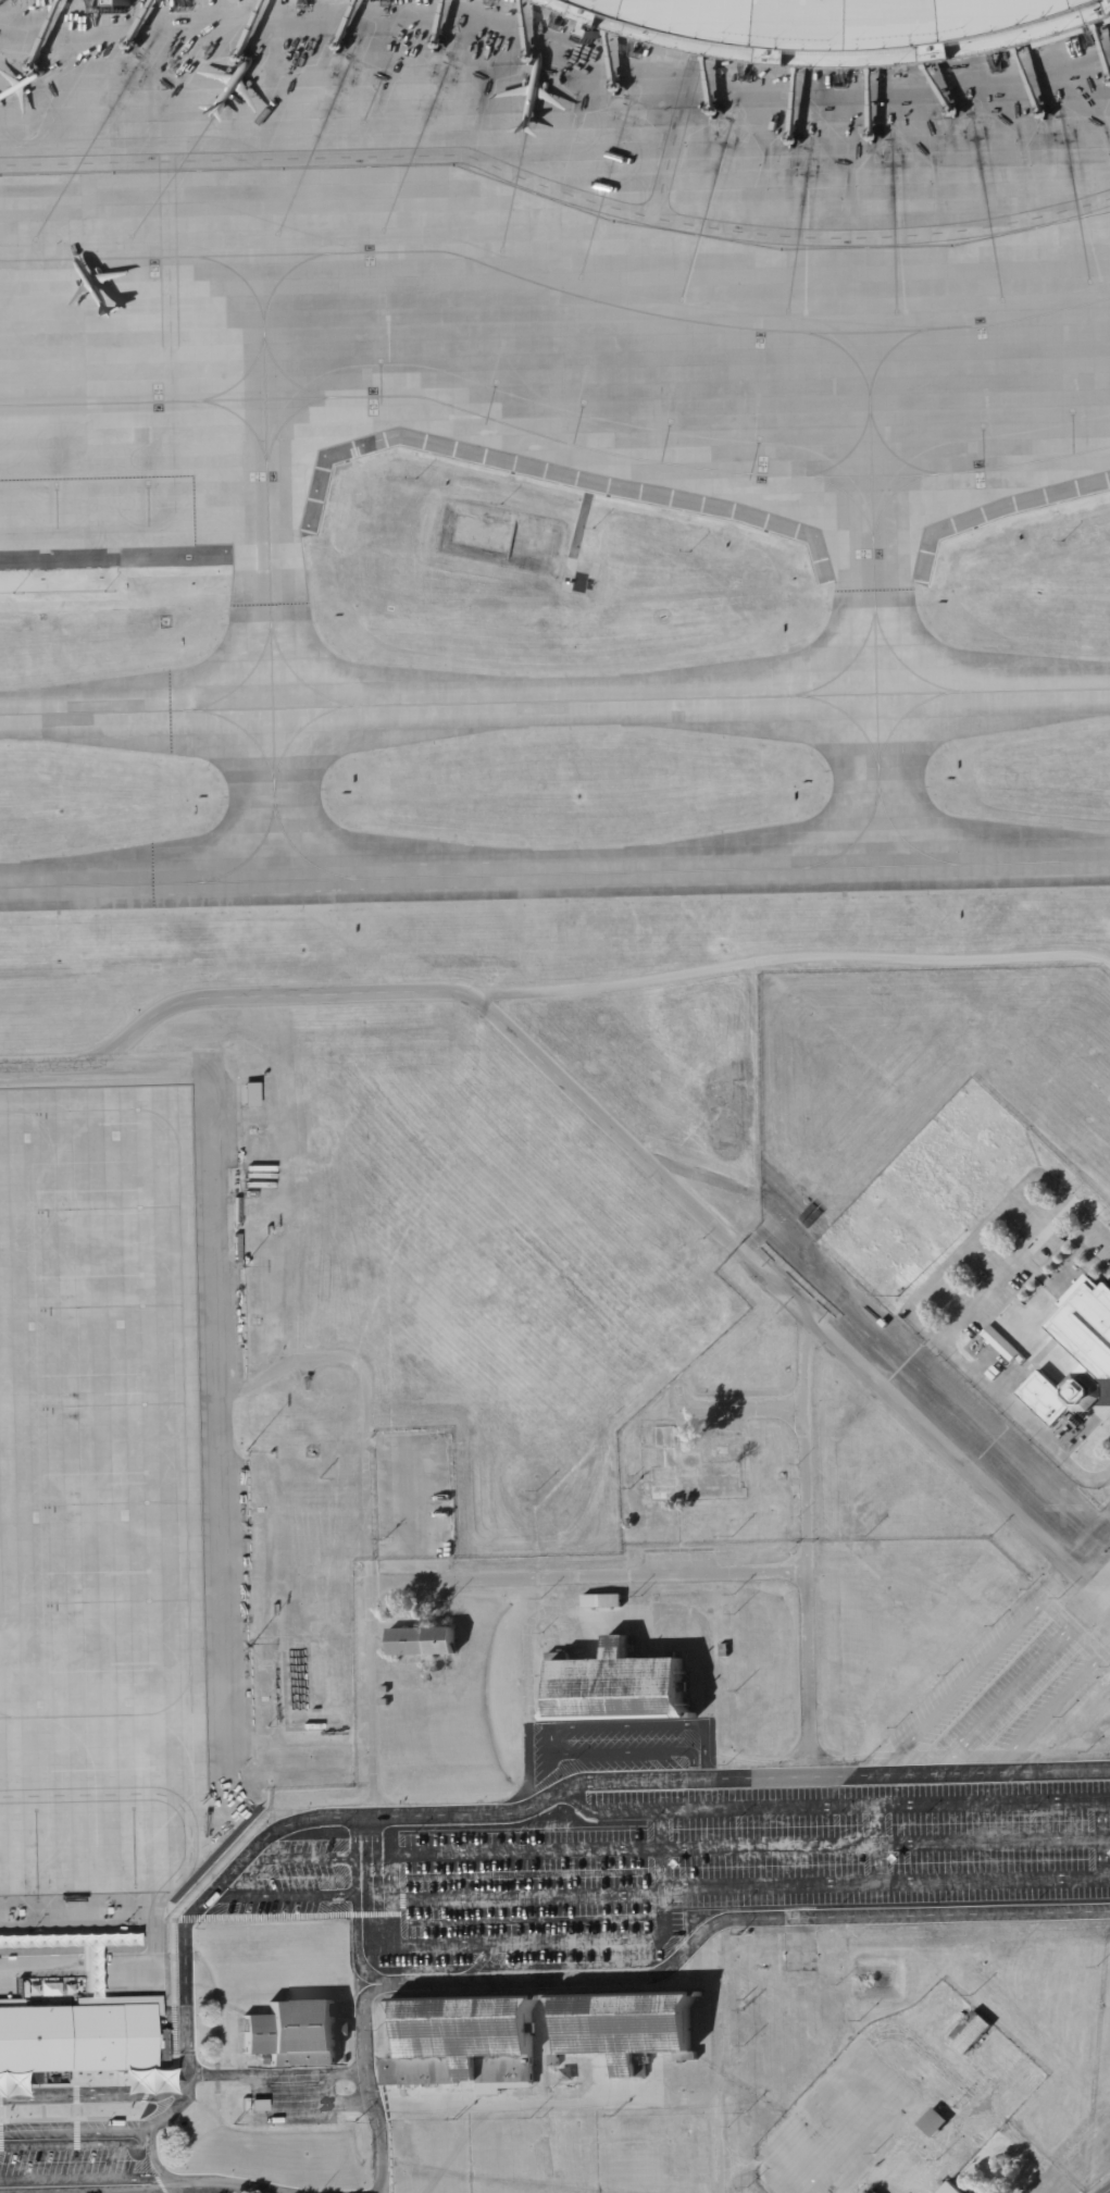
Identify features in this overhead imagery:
building: (477, 11)
airport terminal: (833, 27)
building: (833, 27)
road: (557, 184)
airport apron: (535, 280)
airport taxiway: (282, 286)
airport taxiway: (556, 295)
airport taxiway: (859, 367)
airport taxiway: (244, 382)
airport taxiway: (291, 384)
airport taxiway: (467, 412)
airport taxiway: (292, 420)
airport taxiway: (244, 423)
airport taxiway: (853, 451)
airport taxiway: (893, 451)
airport taxiway: (1030, 466)
airport taxiway: (900, 491)
airport taxiway: (849, 500)
airport taxiway: (267, 580)
airport taxiway: (873, 607)
airport taxiway: (847, 664)
airport taxiway: (902, 665)
airport taxiway: (299, 678)
airport taxiway: (241, 679)
airport taxiway: (554, 699)
airport taxiway: (905, 713)
airport taxiway: (847, 715)
airport taxiway: (298, 729)
airport taxiway: (245, 731)
airport taxiway: (901, 838)
airport taxiway: (249, 855)
airport taxiway: (554, 872)
road: (408, 992)
building: (248, 1095)
airport: (554, 1096)
airport taxiway: (88, 1108)
road: (1007, 1266)
building: (909, 1294)
building: (939, 1299)
building: (1000, 1343)
building: (1074, 1348)
building: (1021, 1359)
road: (933, 1391)
building: (1099, 1426)
building: (664, 1436)
airport apron: (100, 1496)
airport taxiway: (186, 1503)
road: (803, 1529)
building: (431, 1540)
building: (440, 1540)
road: (471, 1578)
building: (601, 1601)
building: (315, 1625)
building: (422, 1641)
road: (1084, 1645)
building: (724, 1650)
road: (972, 1672)
building: (619, 1687)
building: (383, 1688)
building: (304, 1697)
building: (384, 1702)
road: (1001, 1702)
airport taxiway: (5, 1713)
road: (1045, 1715)
road: (552, 1727)
road: (173, 1797)
road: (865, 1804)
road: (600, 1810)
road: (457, 1811)
parking lot: (708, 1829)
road: (885, 1843)
road: (877, 1844)
road: (1106, 1878)
road: (377, 1881)
road: (238, 1884)
road: (365, 1886)
road: (786, 1887)
road: (353, 1916)
road: (390, 1940)
building: (87, 1960)
road: (647, 1975)
building: (342, 2029)
building: (625, 2029)
building: (291, 2032)
building: (969, 2033)
airport terminal: (78, 2040)
building: (78, 2040)
building: (464, 2042)
road: (715, 2057)
building: (262, 2060)
road: (276, 2073)
building: (564, 2076)
road: (179, 2102)
building: (815, 2102)
building: (254, 2104)
road: (492, 2105)
building: (931, 2121)
road: (76, 2127)
parking lot: (74, 2160)
road: (158, 2164)
road: (759, 2166)
road: (1101, 2185)
road: (146, 2189)
road: (177, 2189)
building: (949, 2189)
building: (872, 2191)

